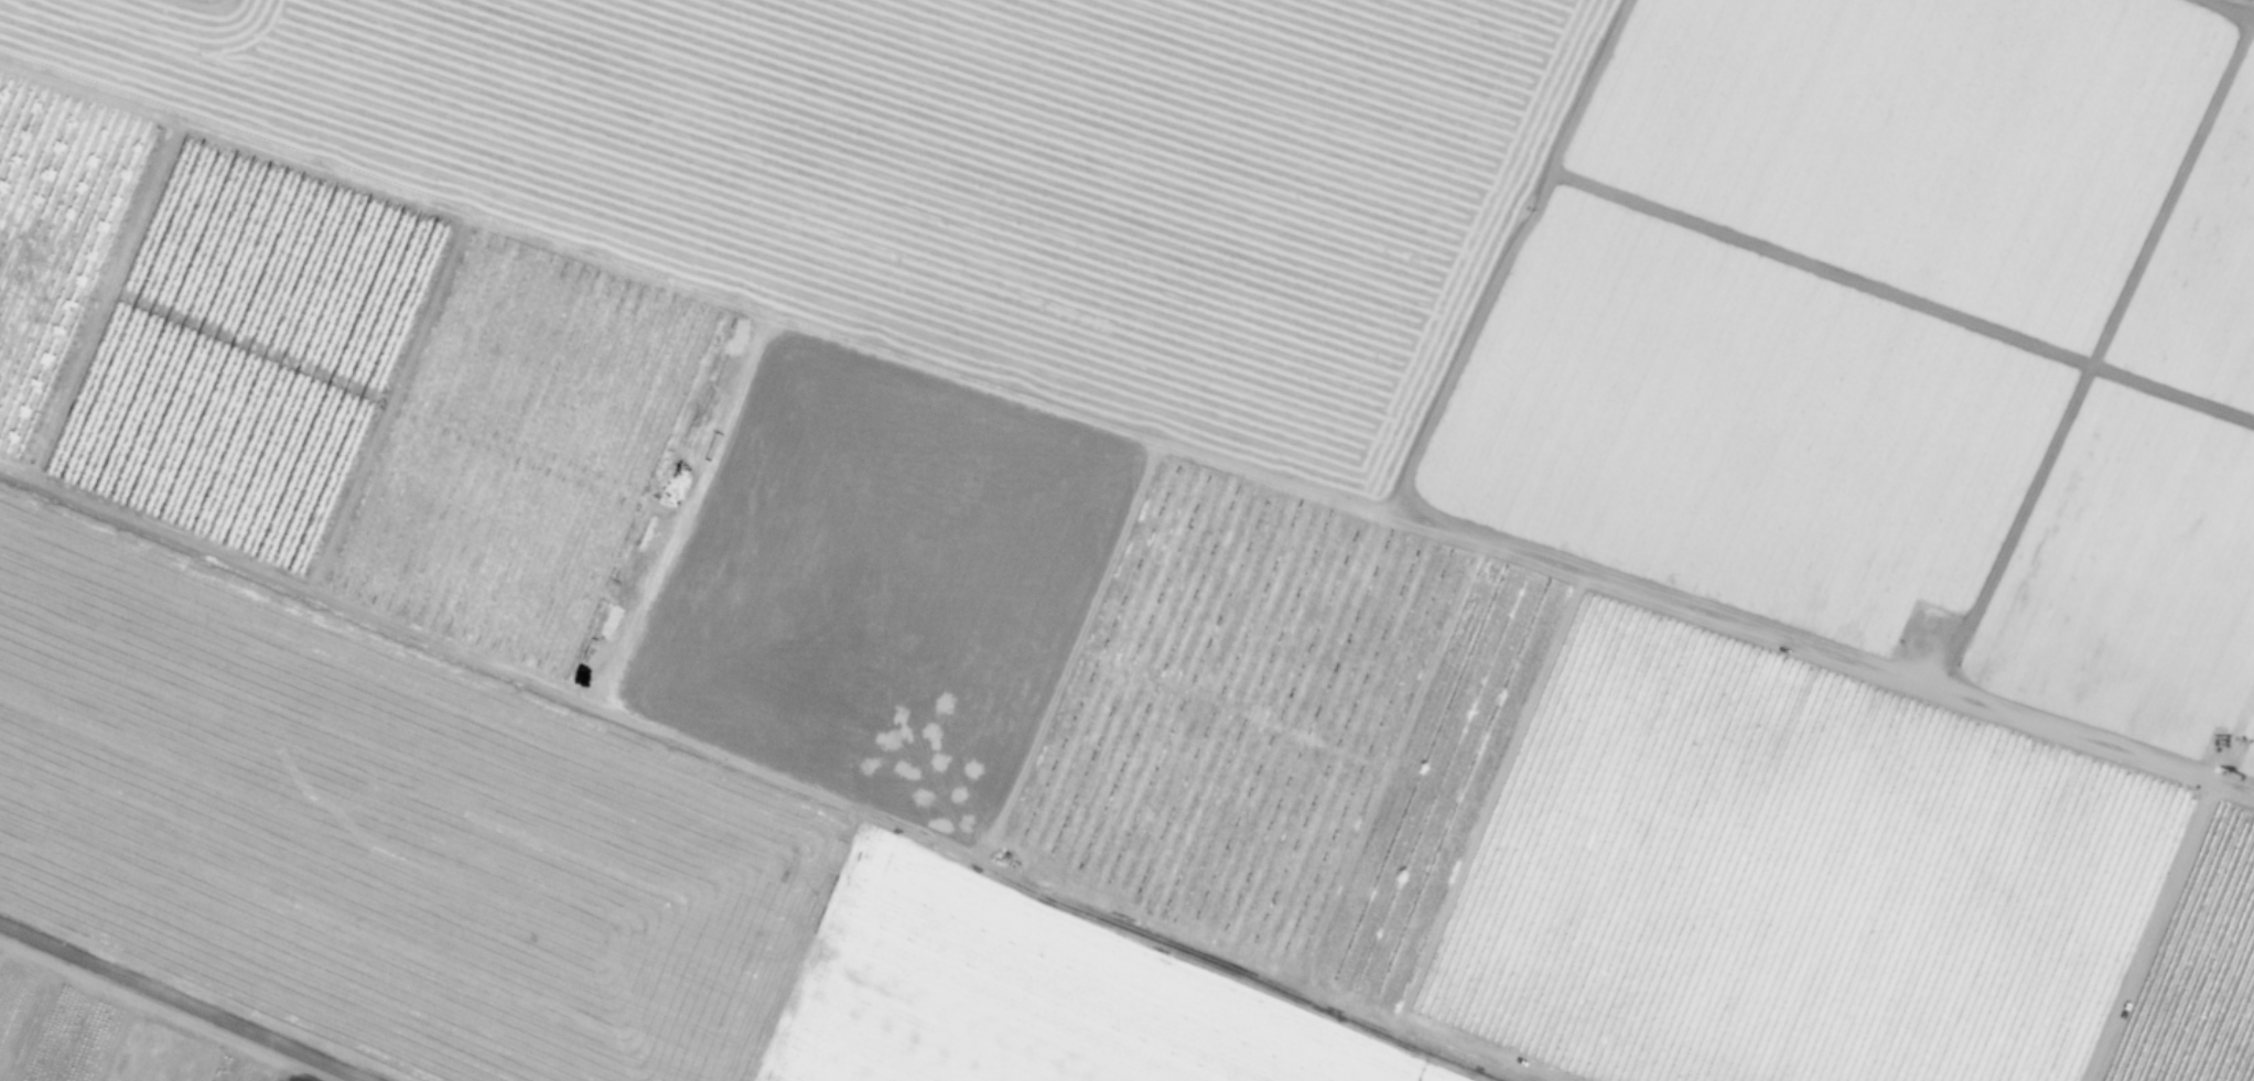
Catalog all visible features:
crop: (1125, 540)
road: (759, 767)
building: (1419, 774)
building: (1962, 902)
road: (182, 1002)

